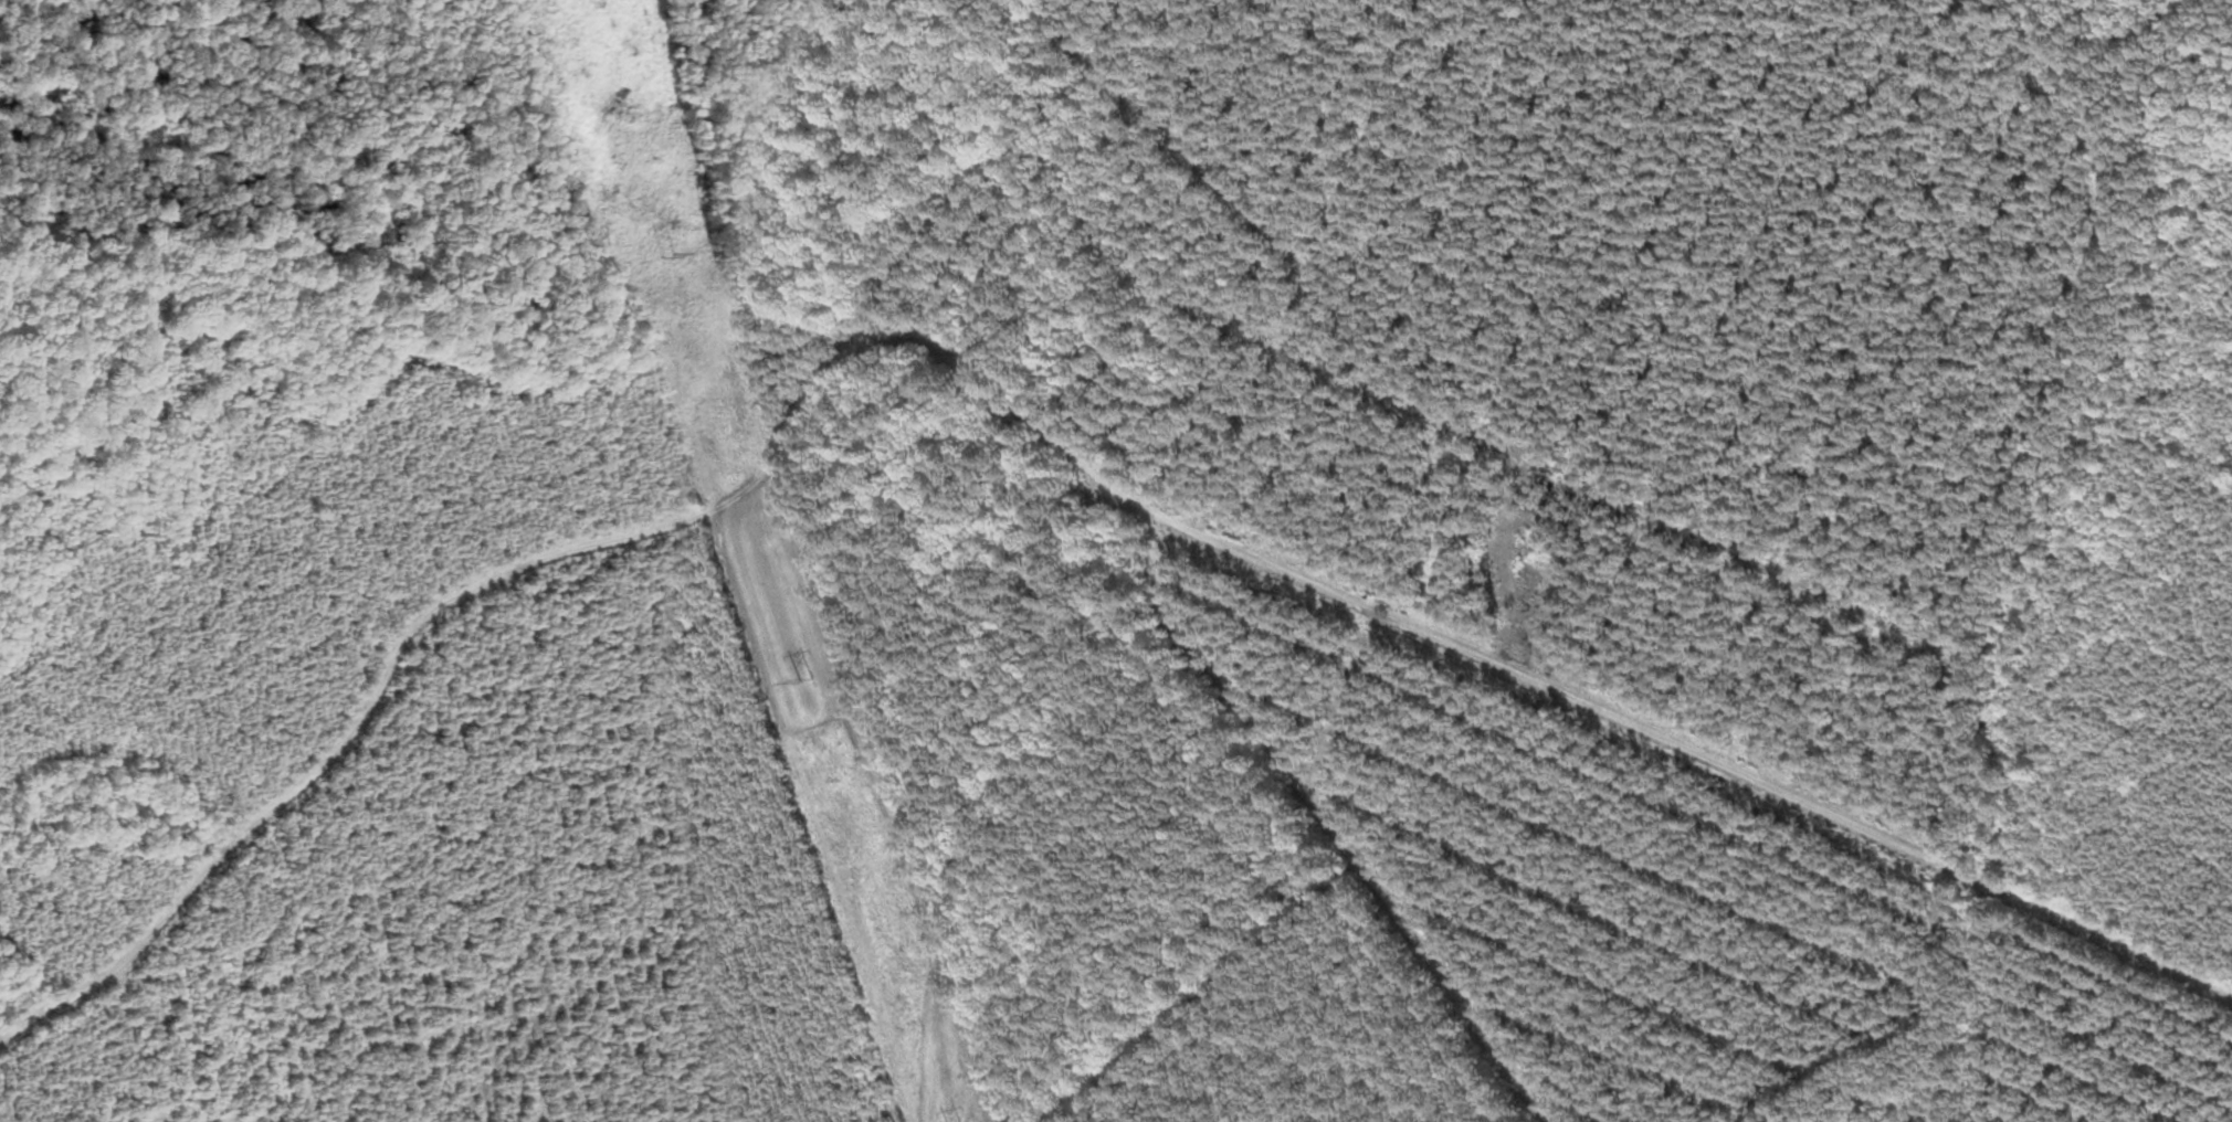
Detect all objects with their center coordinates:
power tower: (803, 682)

